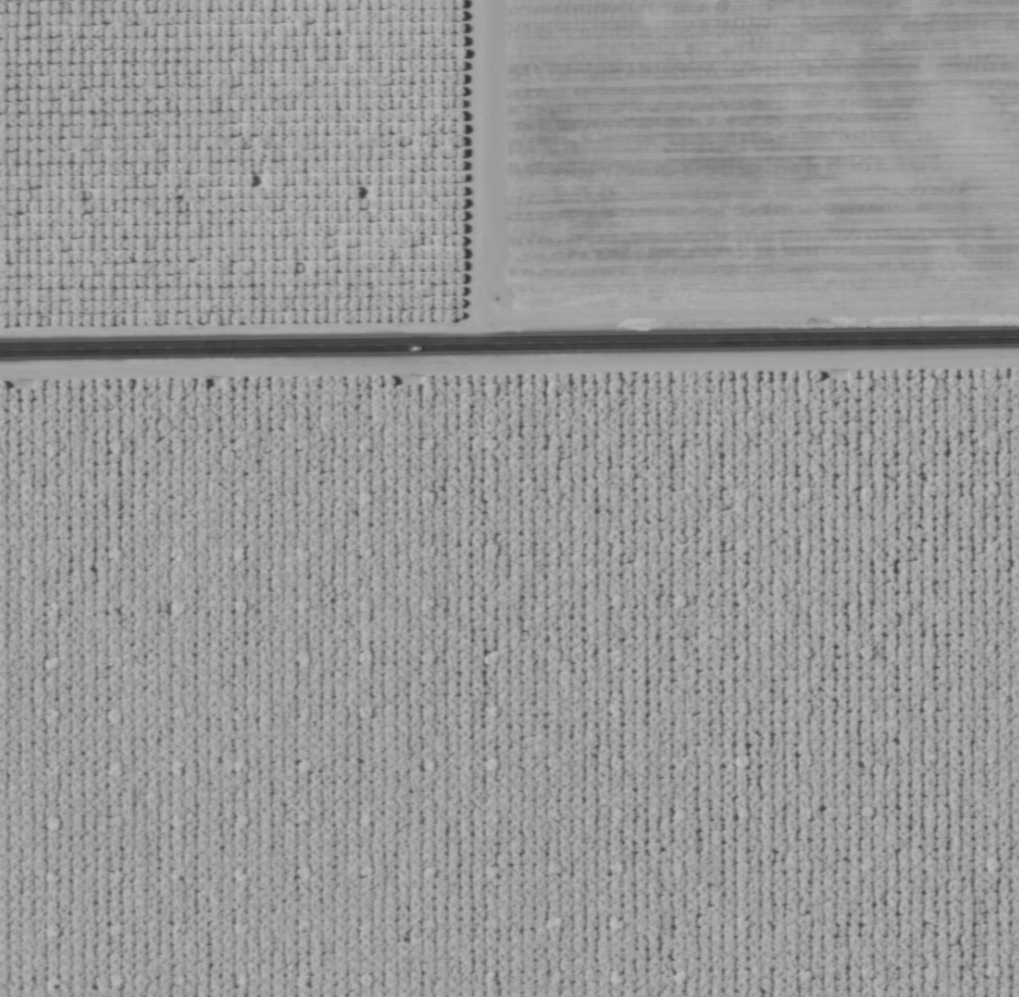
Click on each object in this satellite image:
crop: (506, 162)
road: (509, 342)
crop: (509, 498)
crop: (511, 685)

